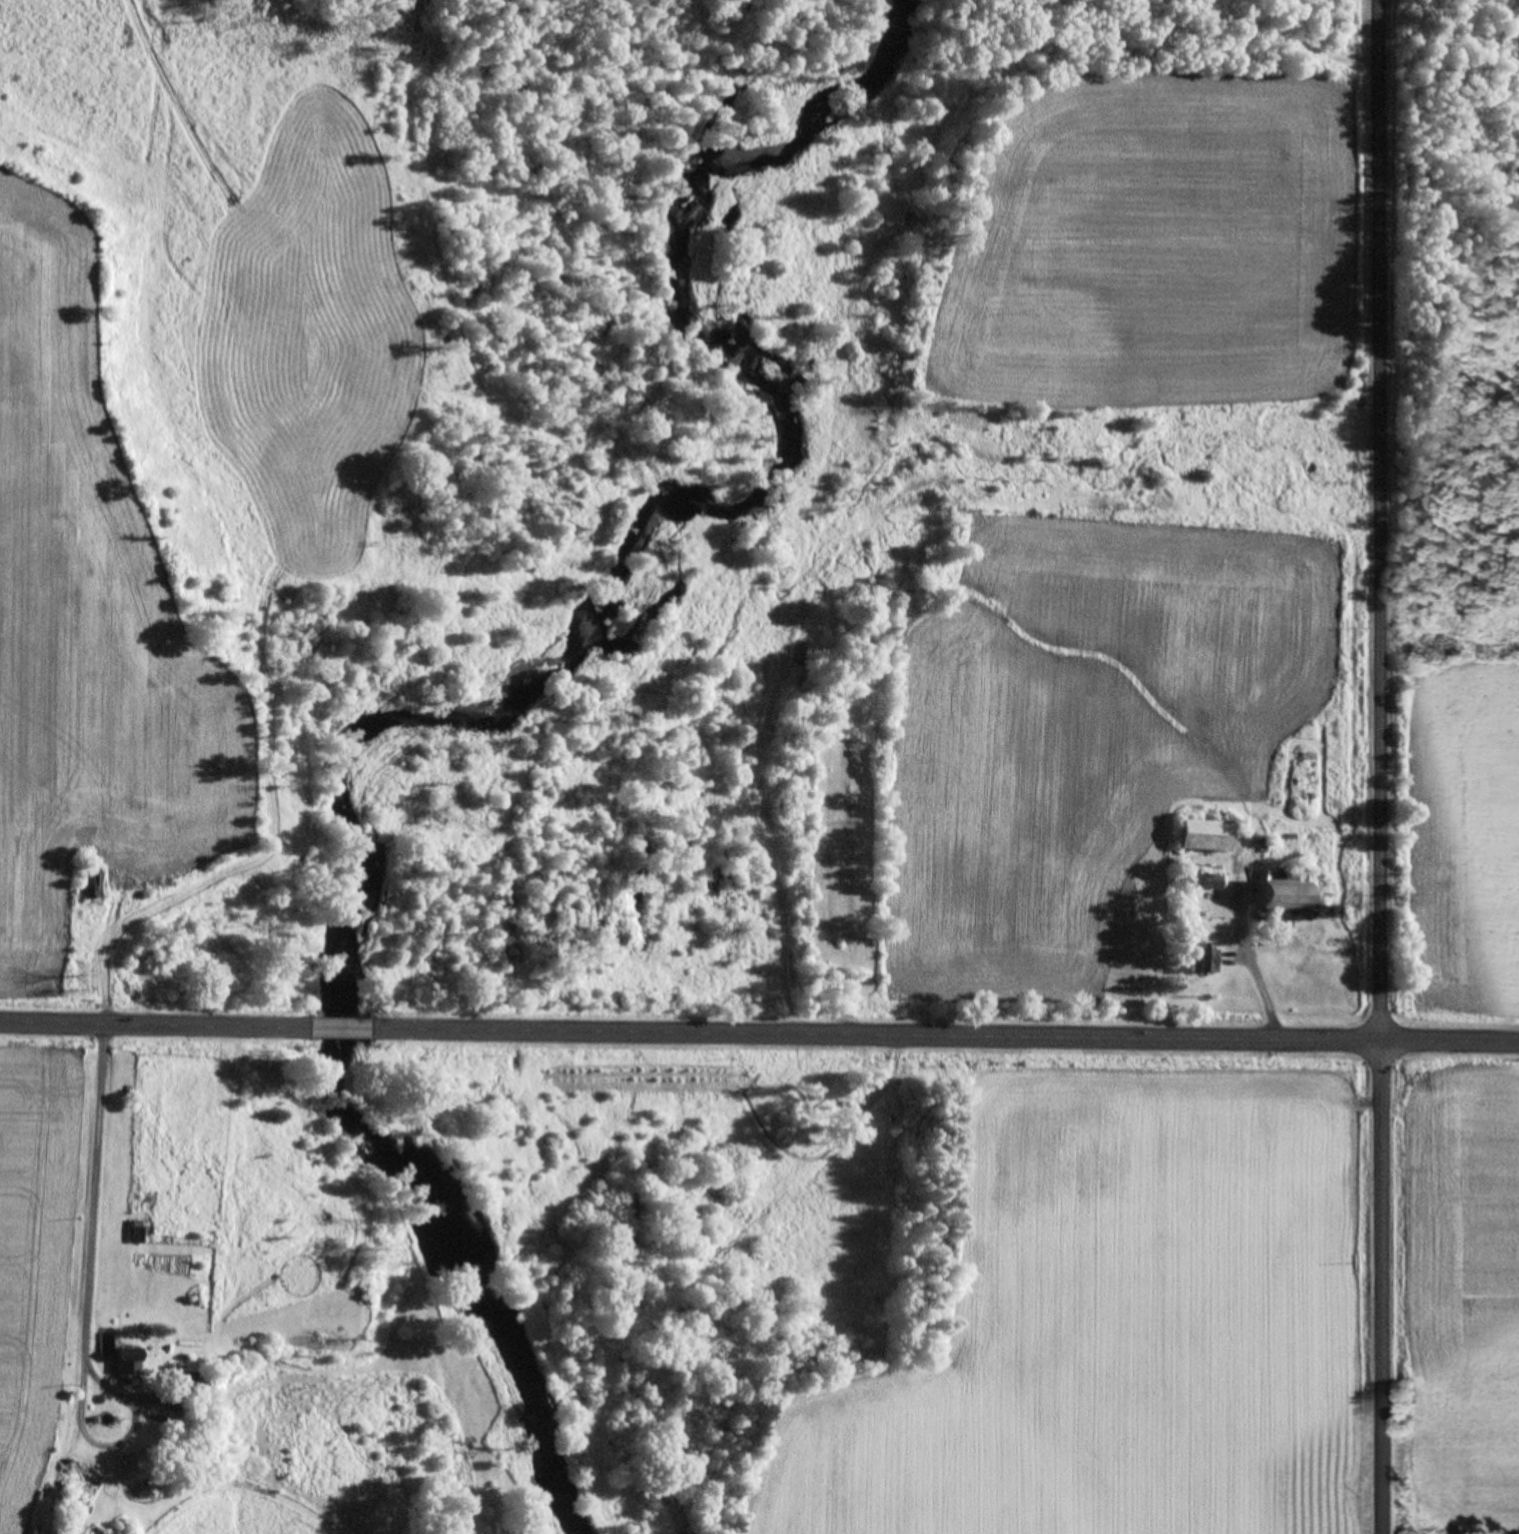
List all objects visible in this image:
river: (867, 84)
river: (710, 345)
river: (615, 680)
road: (1380, 767)
river: (364, 780)
building: (1204, 836)
park: (836, 843)
building: (1210, 883)
building: (93, 889)
building: (1280, 895)
building: (1203, 961)
road: (151, 1025)
road: (340, 1029)
road: (948, 1036)
river: (398, 1184)
building: (136, 1234)
road: (86, 1302)
building: (126, 1360)
building: (184, 1387)
building: (104, 1531)

